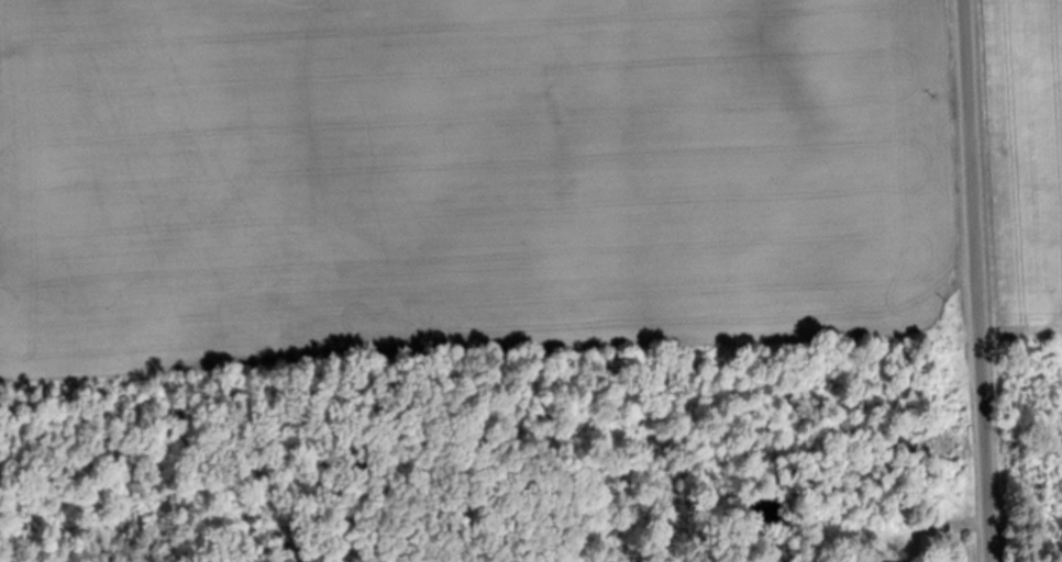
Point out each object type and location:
road: (977, 280)
building: (890, 555)

